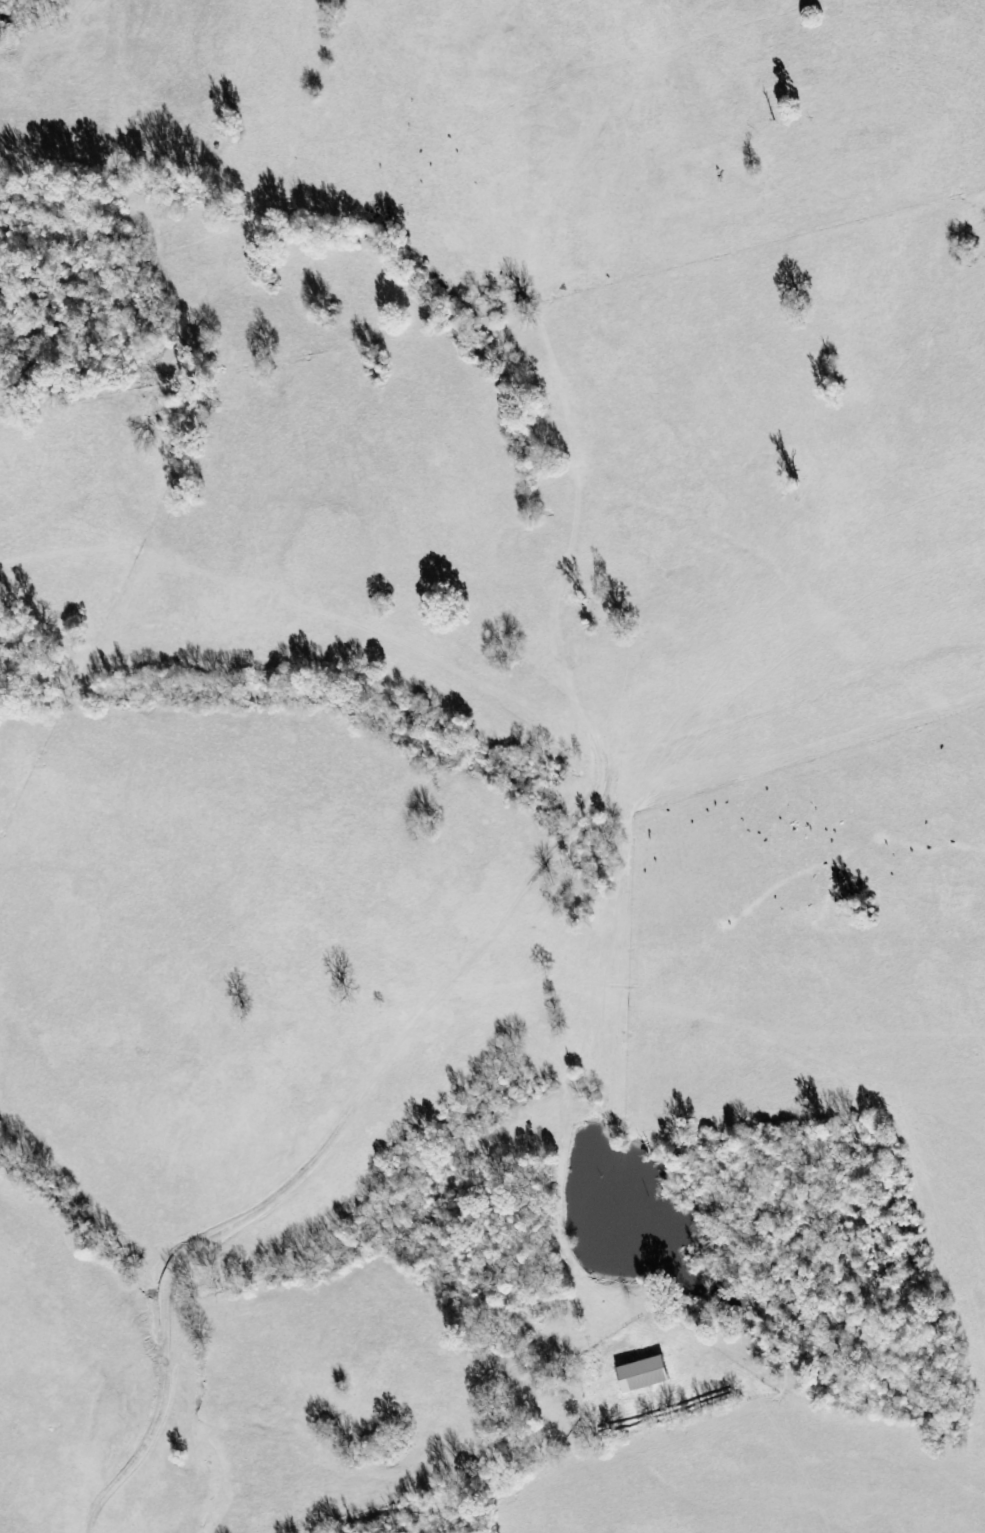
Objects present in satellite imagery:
building: (646, 1374)

